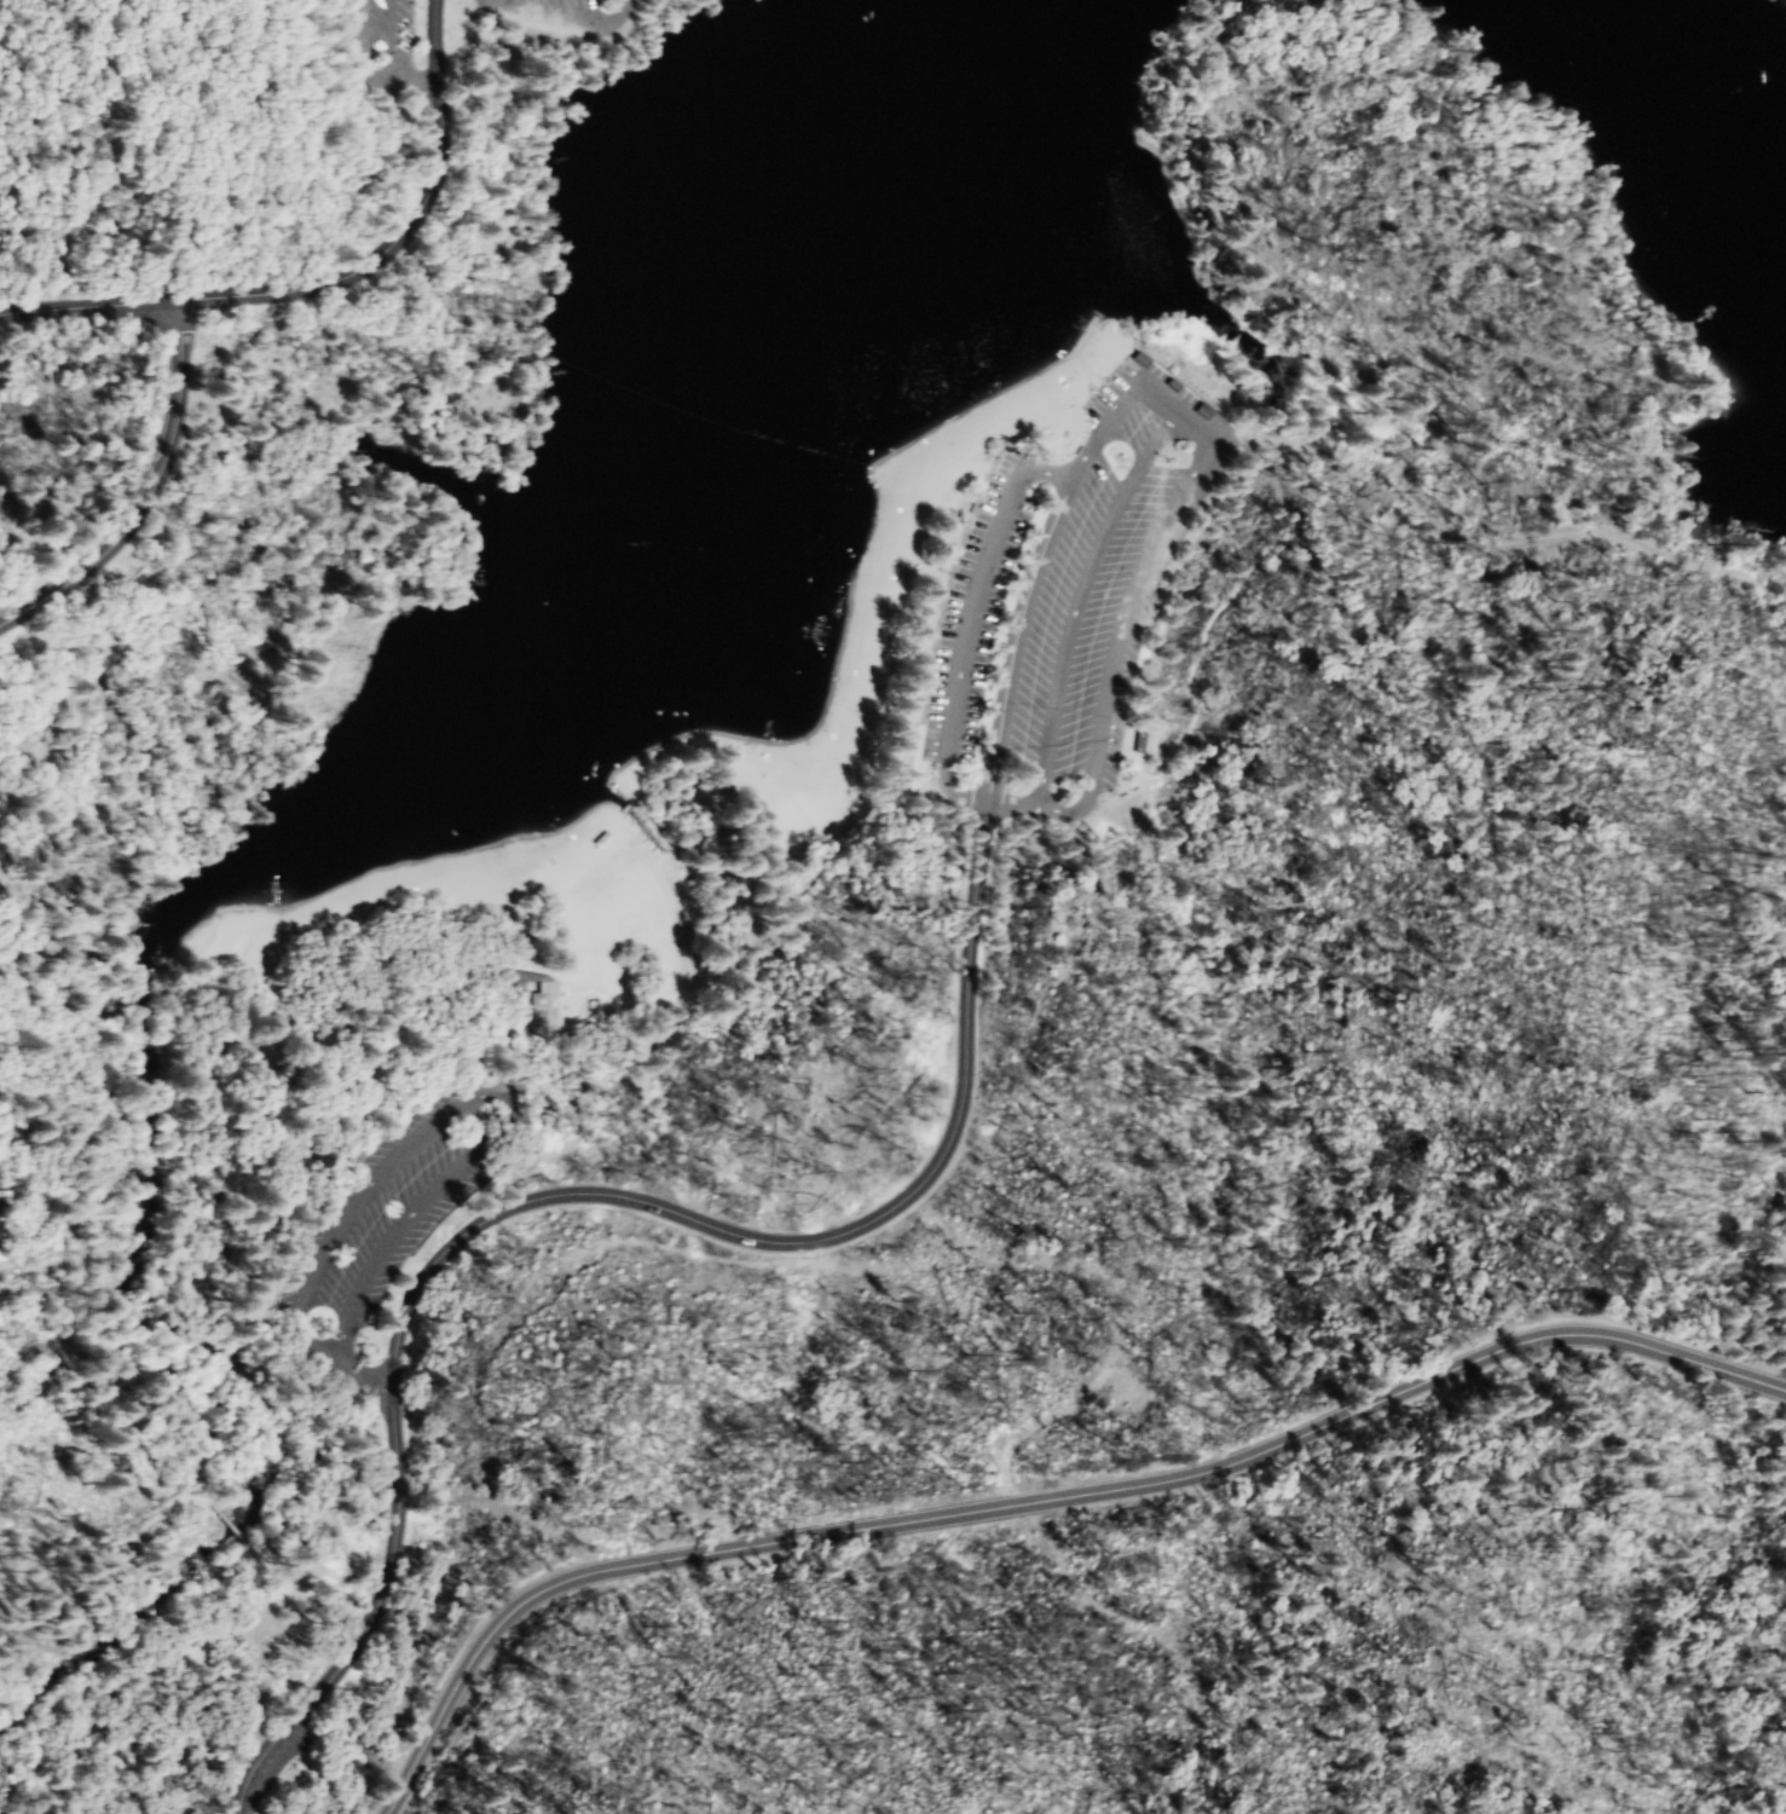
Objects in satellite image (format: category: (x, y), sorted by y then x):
parking lot: (560, 16)
road: (561, 21)
road: (329, 282)
road: (1208, 433)
road: (145, 496)
road: (1474, 538)
road: (1038, 560)
parking lot: (1062, 603)
road: (961, 648)
road: (1433, 659)
building: (541, 1010)
road: (514, 1109)
road: (573, 1196)
parking lot: (392, 1211)
road: (281, 1359)
road: (371, 1381)
road: (1042, 1502)

